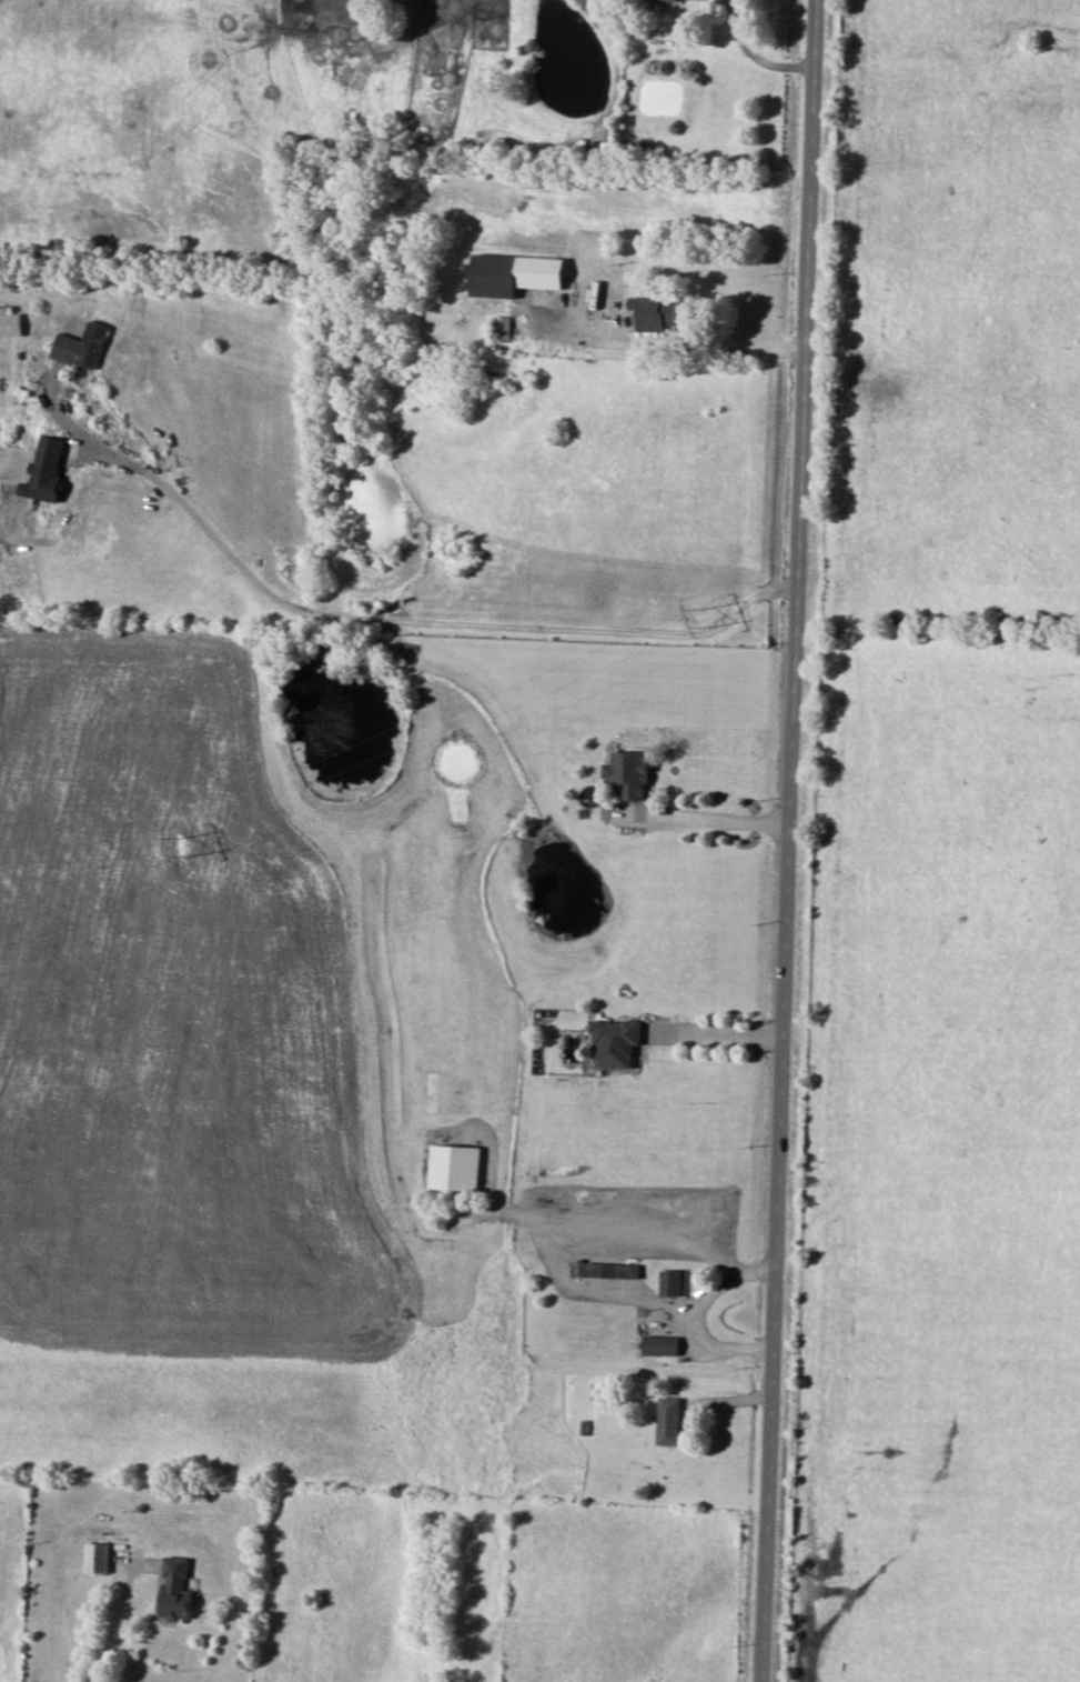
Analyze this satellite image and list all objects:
building: (679, 0)
road: (757, 54)
building: (515, 274)
building: (655, 313)
building: (10, 326)
building: (502, 327)
building: (82, 346)
road: (664, 347)
building: (46, 471)
power tower: (702, 614)
road: (420, 615)
building: (629, 773)
road: (711, 819)
road: (789, 840)
power tower: (181, 848)
road: (717, 1030)
building: (616, 1041)
building: (456, 1167)
building: (613, 1270)
building: (673, 1282)
road: (693, 1314)
building: (663, 1344)
building: (669, 1420)
building: (99, 1556)
building: (176, 1589)
road: (110, 1625)

